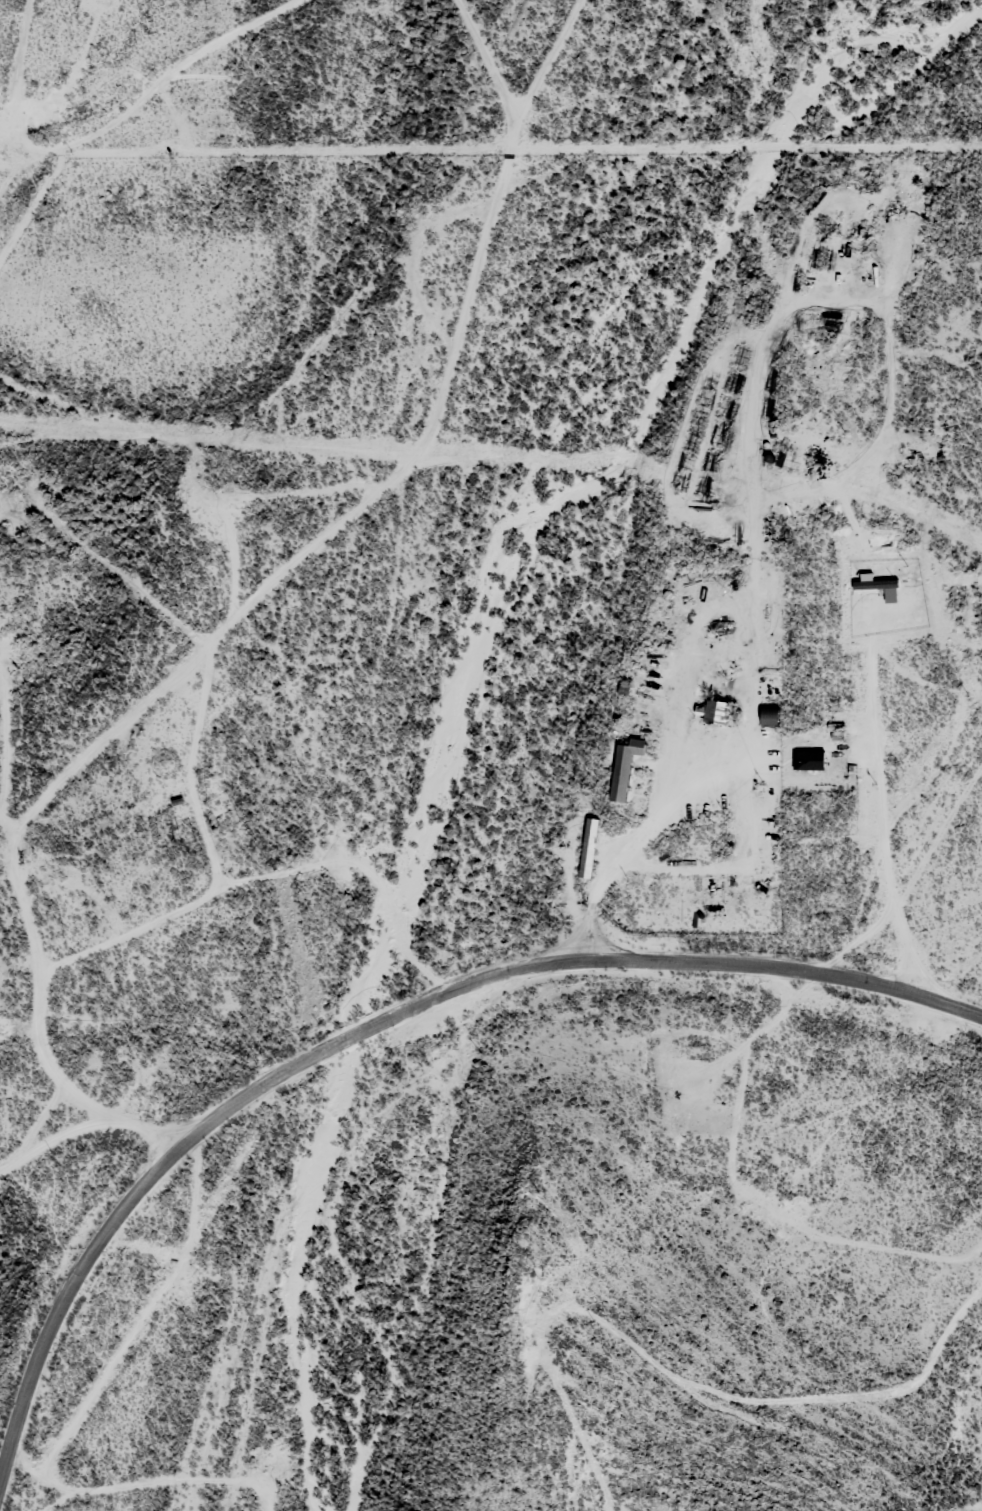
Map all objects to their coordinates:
road: (380, 481)
building: (714, 710)
building: (768, 714)
building: (807, 758)
building: (623, 766)
road: (716, 800)
road: (871, 803)
building: (587, 847)
road: (371, 1004)
road: (36, 1073)
road: (102, 1112)

